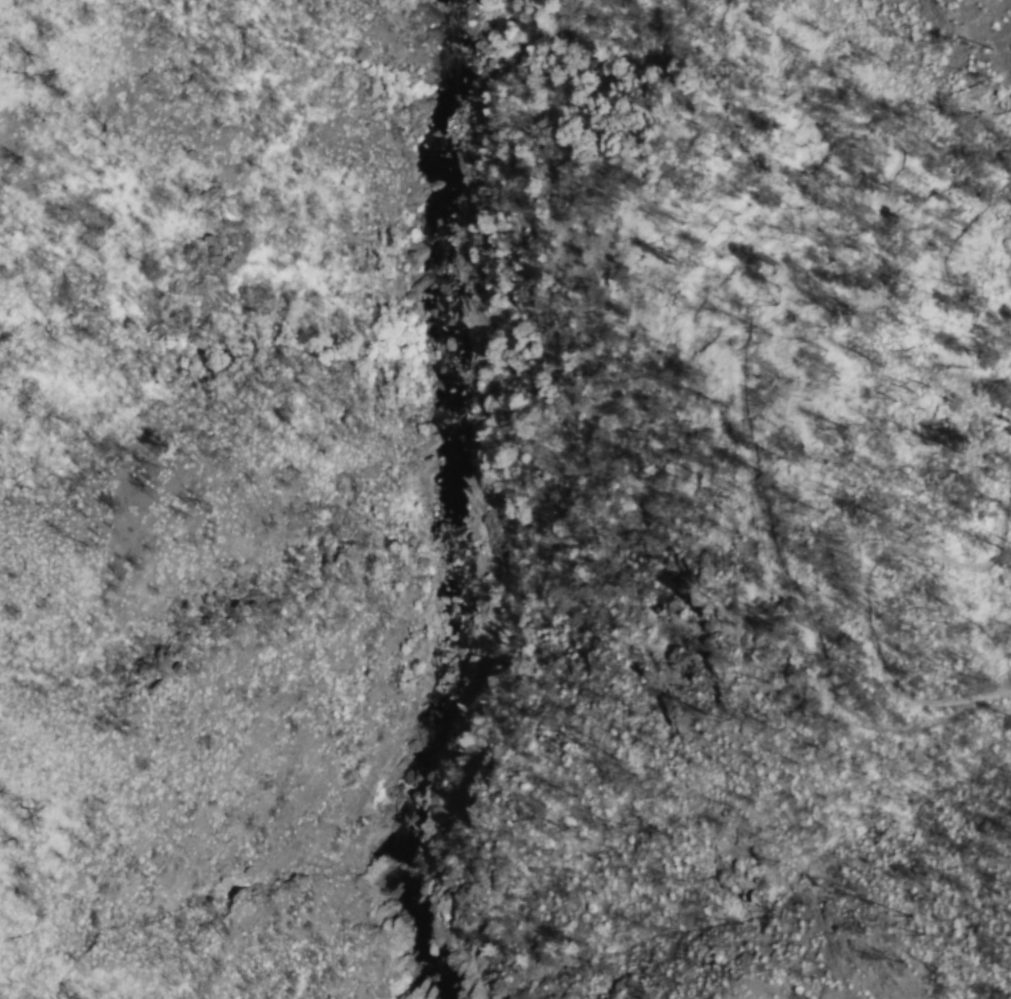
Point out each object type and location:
road: (1003, 377)
river: (457, 501)

